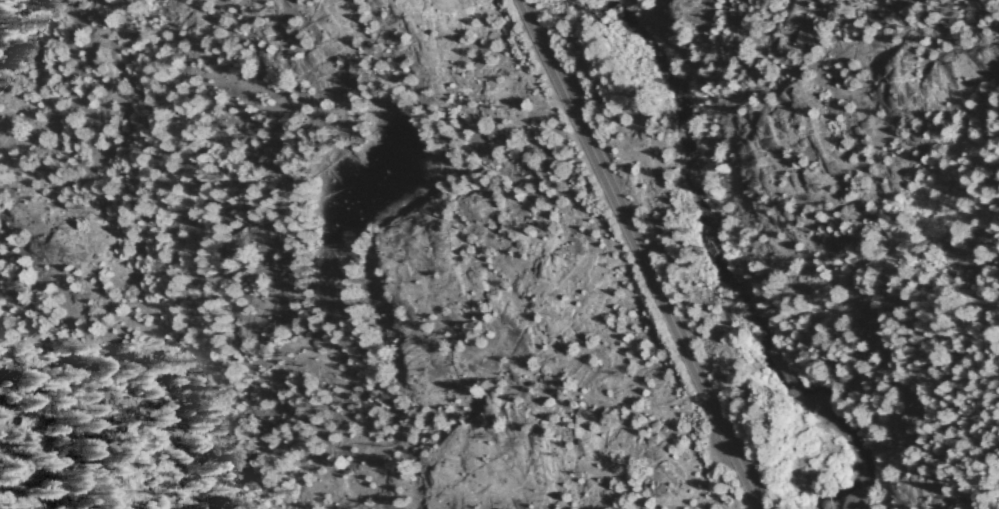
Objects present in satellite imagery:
river: (741, 251)
road: (638, 254)

